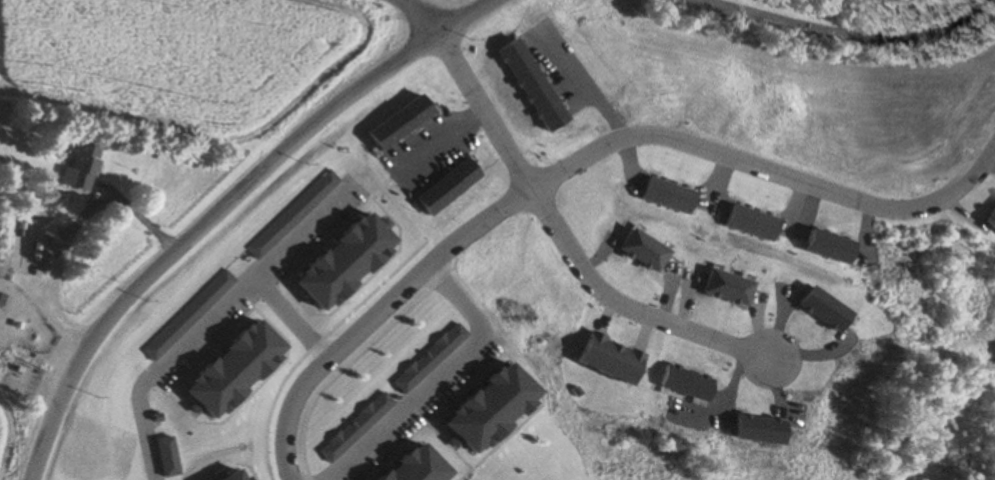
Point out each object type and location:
road: (415, 16)
road: (841, 32)
road: (585, 158)
building: (78, 167)
road: (220, 204)
building: (991, 217)
road: (304, 239)
road: (565, 242)
building: (342, 262)
road: (207, 331)
building: (431, 359)
building: (612, 359)
building: (232, 370)
road: (436, 378)
building: (491, 408)
building: (358, 428)
building: (168, 456)
building: (423, 467)
building: (235, 475)

